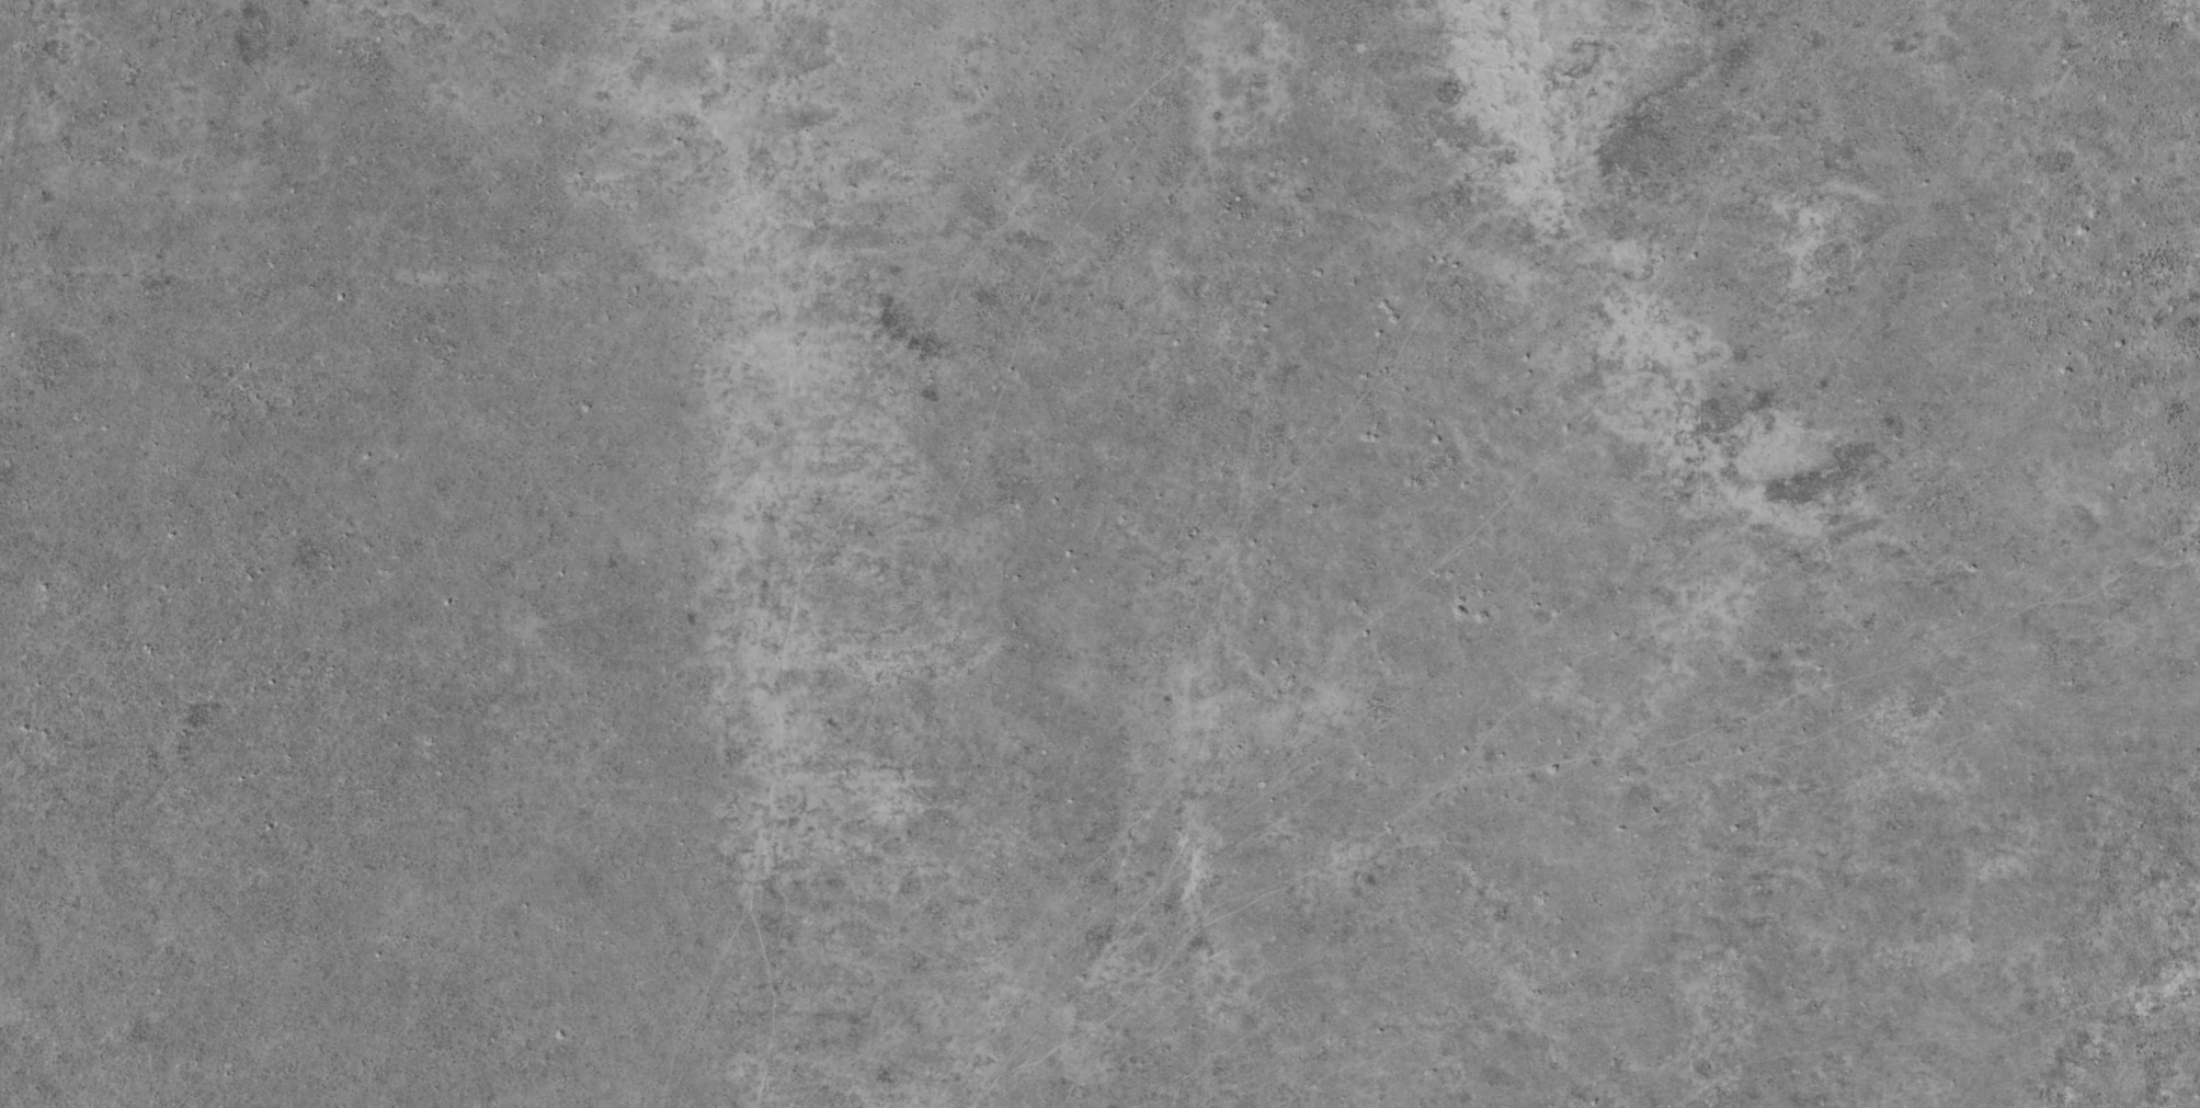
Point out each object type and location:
road: (130, 521)

